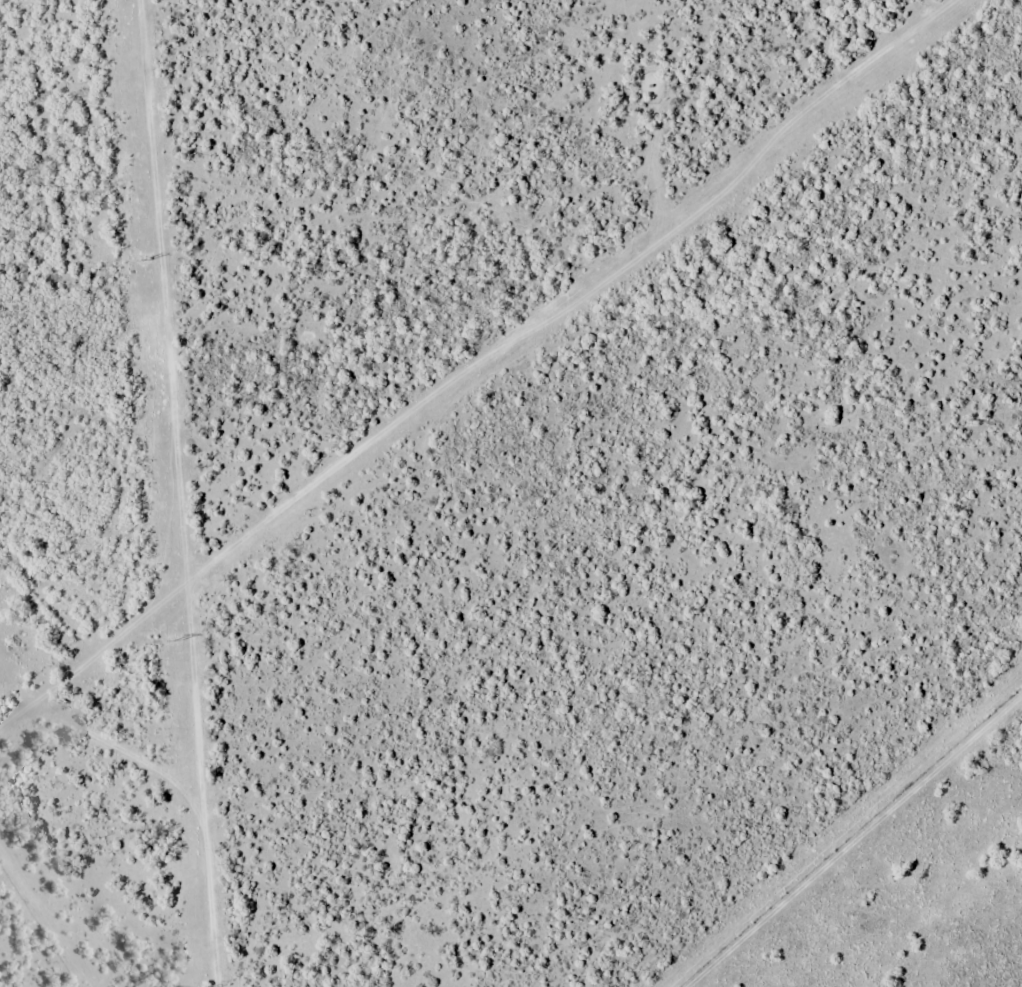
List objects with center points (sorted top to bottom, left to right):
road: (378, 108)
power tower: (147, 260)
power tower: (176, 641)
road: (865, 858)
road: (49, 909)

